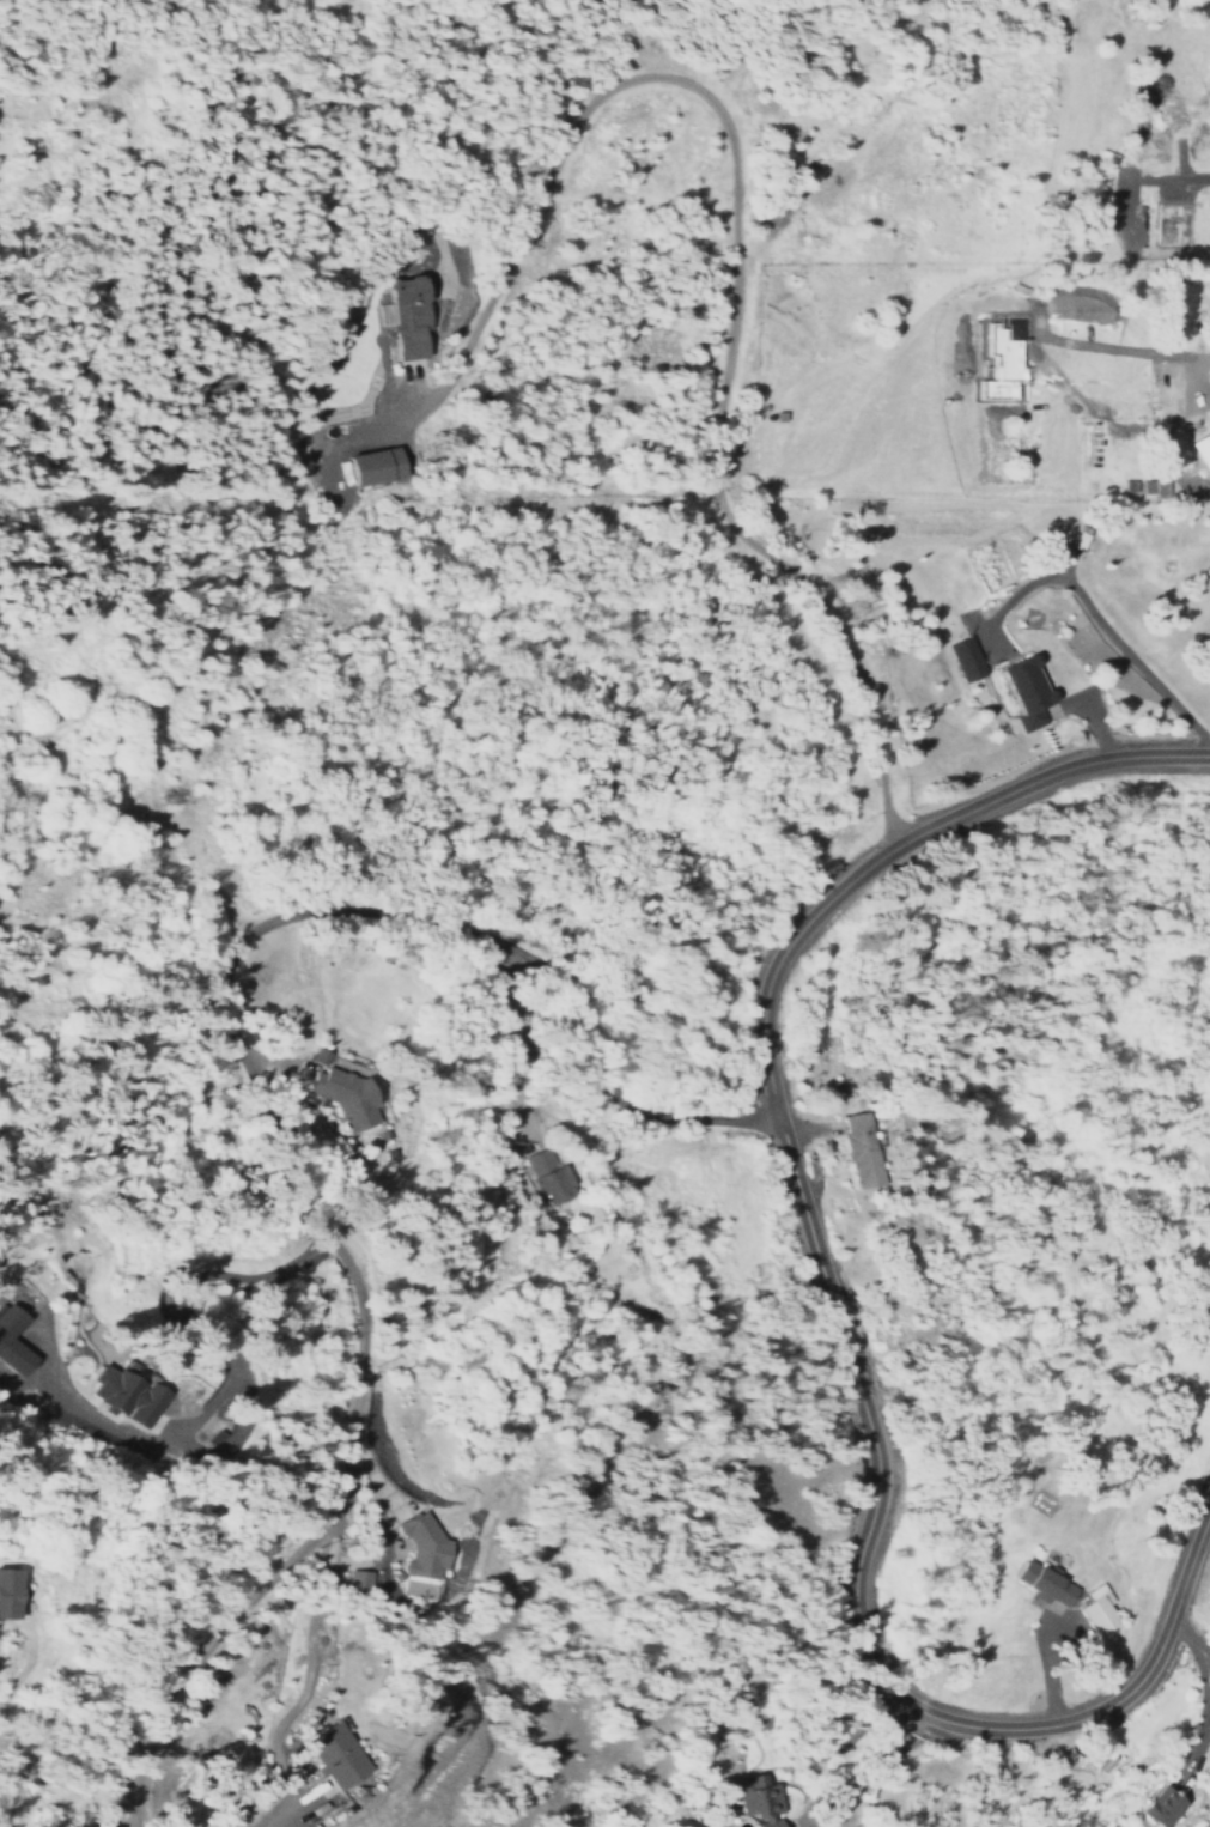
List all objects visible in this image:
road: (656, 77)
building: (406, 316)
building: (373, 466)
building: (1153, 486)
building: (1078, 538)
road: (839, 642)
building: (966, 658)
building: (1026, 691)
road: (900, 851)
building: (342, 1097)
road: (275, 1112)
building: (858, 1151)
building: (543, 1176)
building: (12, 1342)
building: (124, 1395)
building: (421, 1546)
building: (354, 1582)
building: (1042, 1584)
building: (8, 1594)
building: (1096, 1610)
road: (870, 1623)
road: (1187, 1645)
building: (335, 1756)
building: (759, 1801)
building: (1160, 1808)

